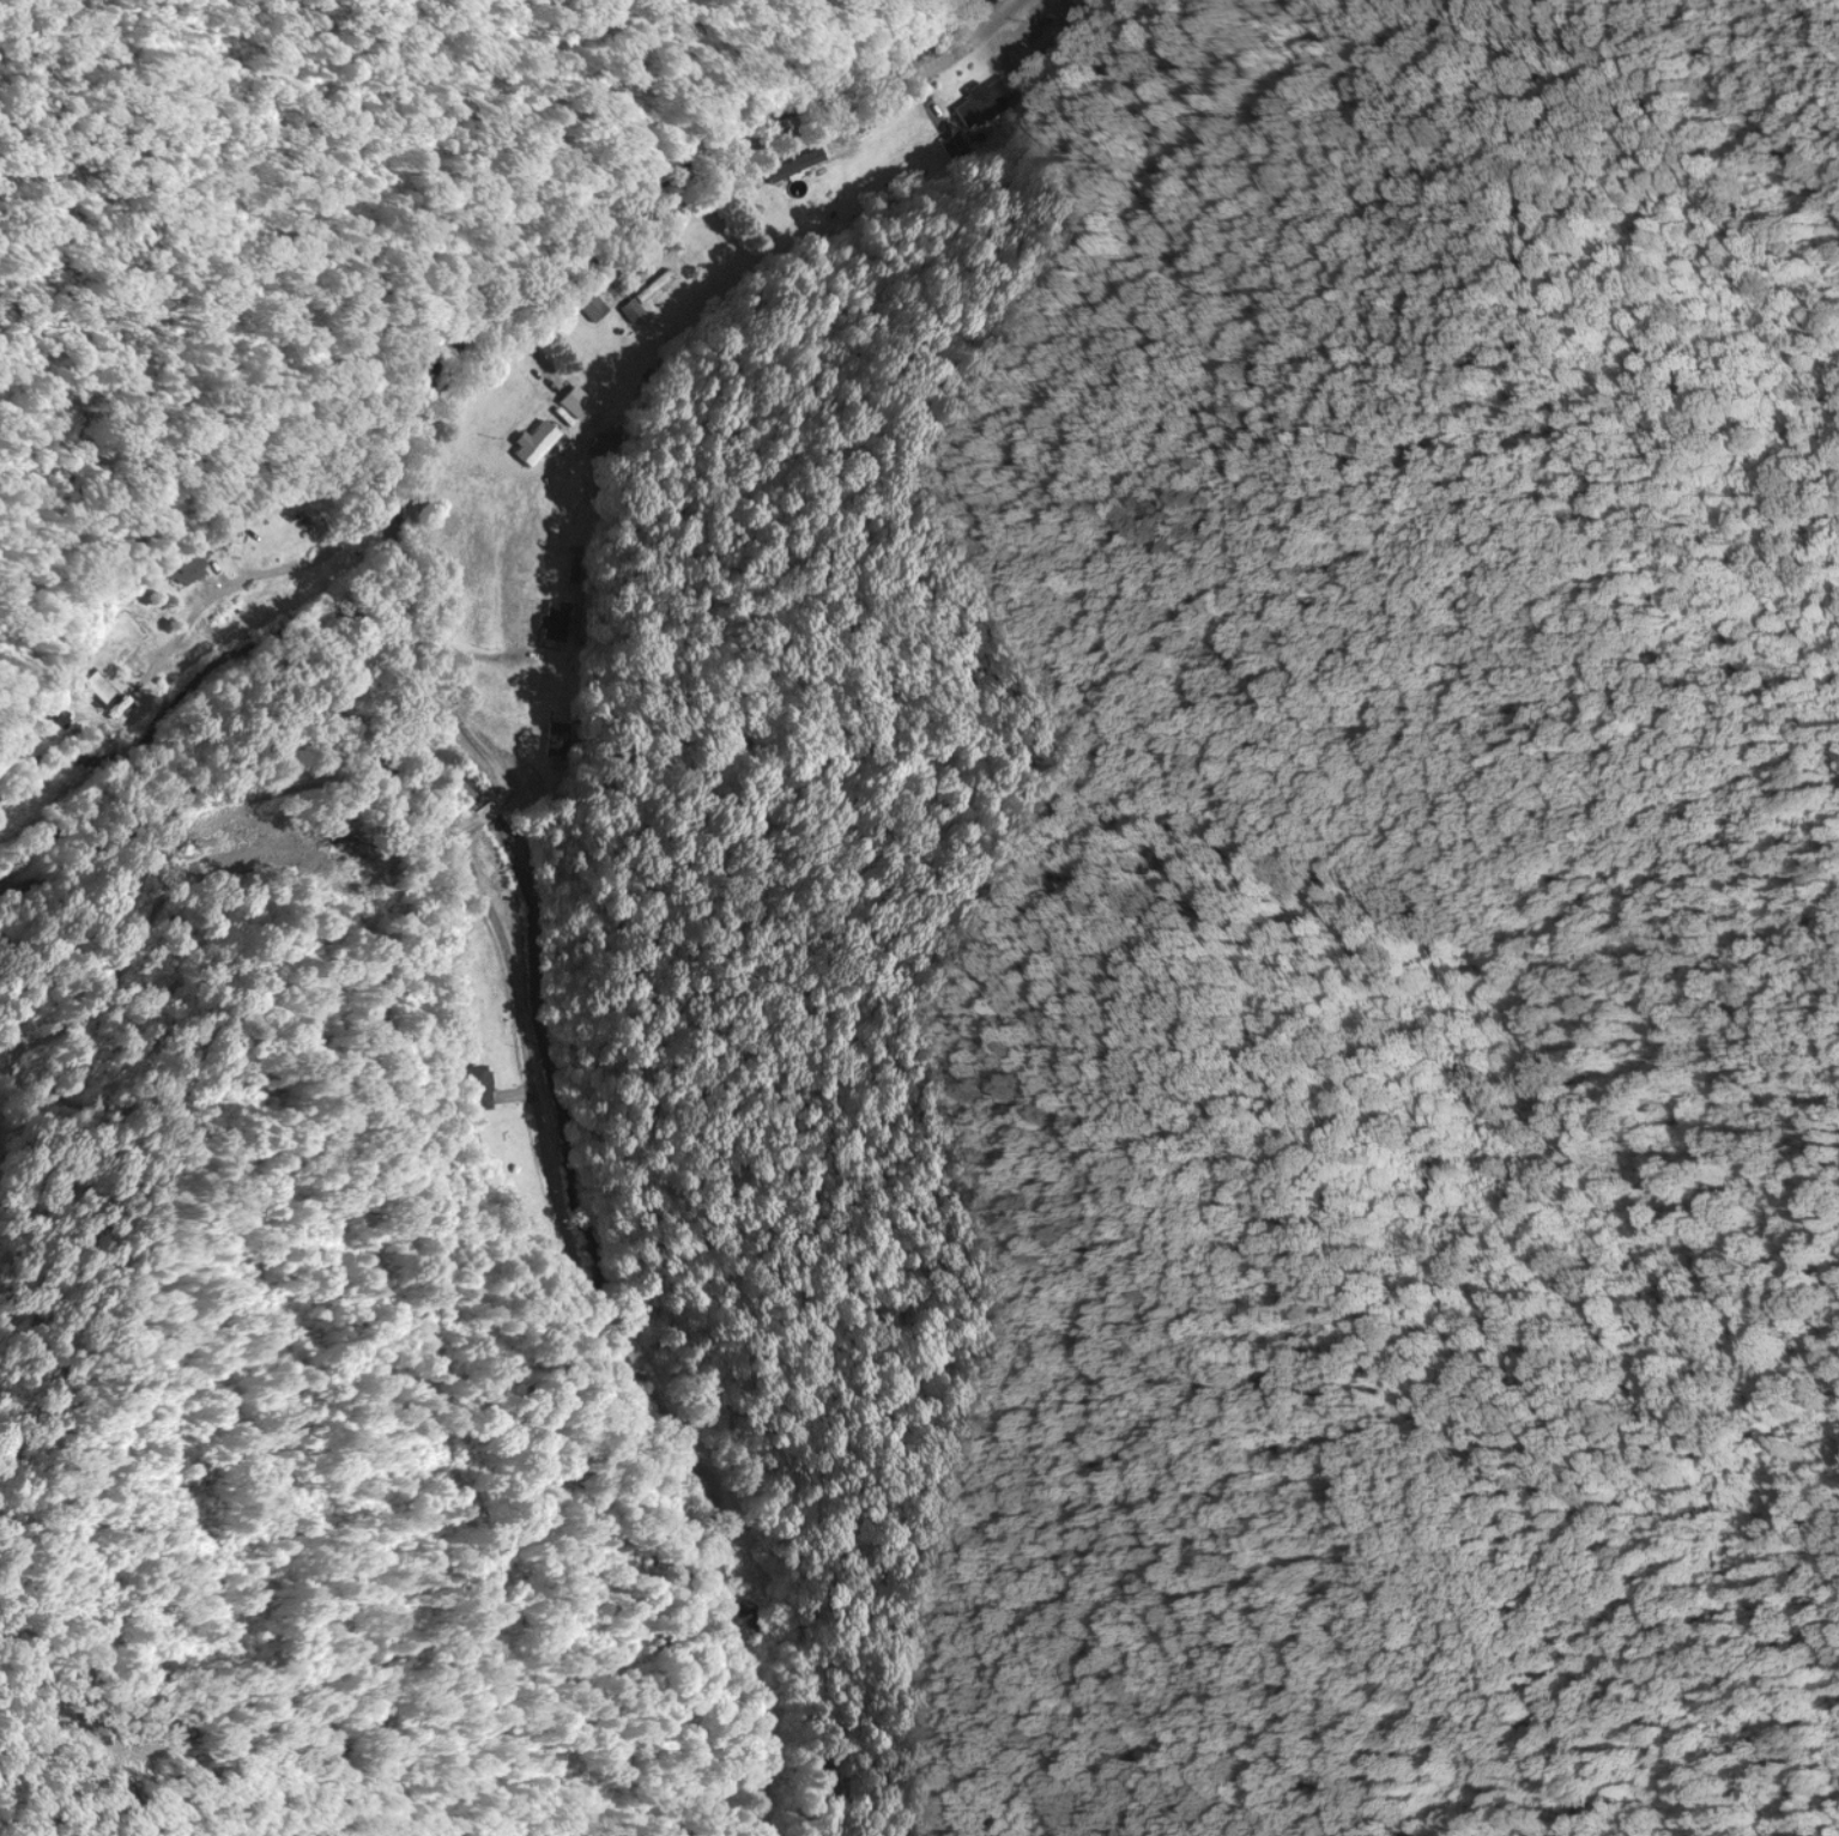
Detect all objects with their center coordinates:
road: (671, 184)
road: (165, 673)
road: (520, 969)
road: (748, 1749)

